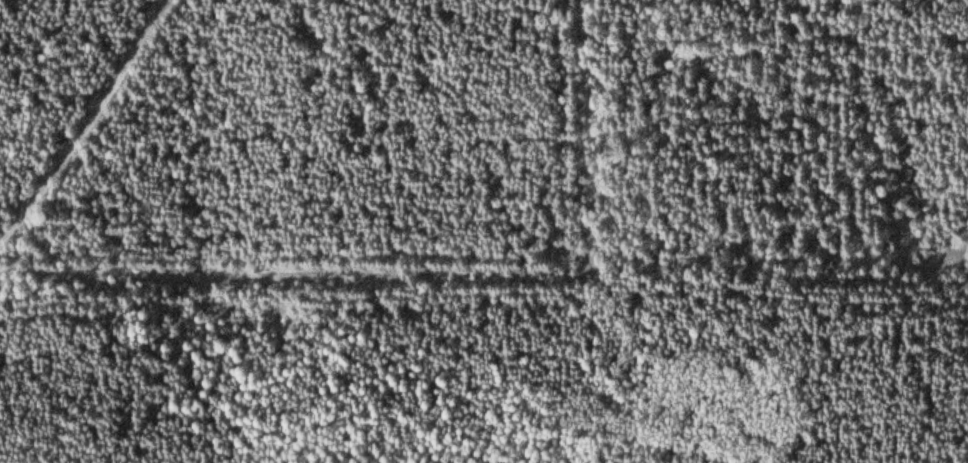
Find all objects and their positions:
road: (86, 125)
road: (451, 271)

